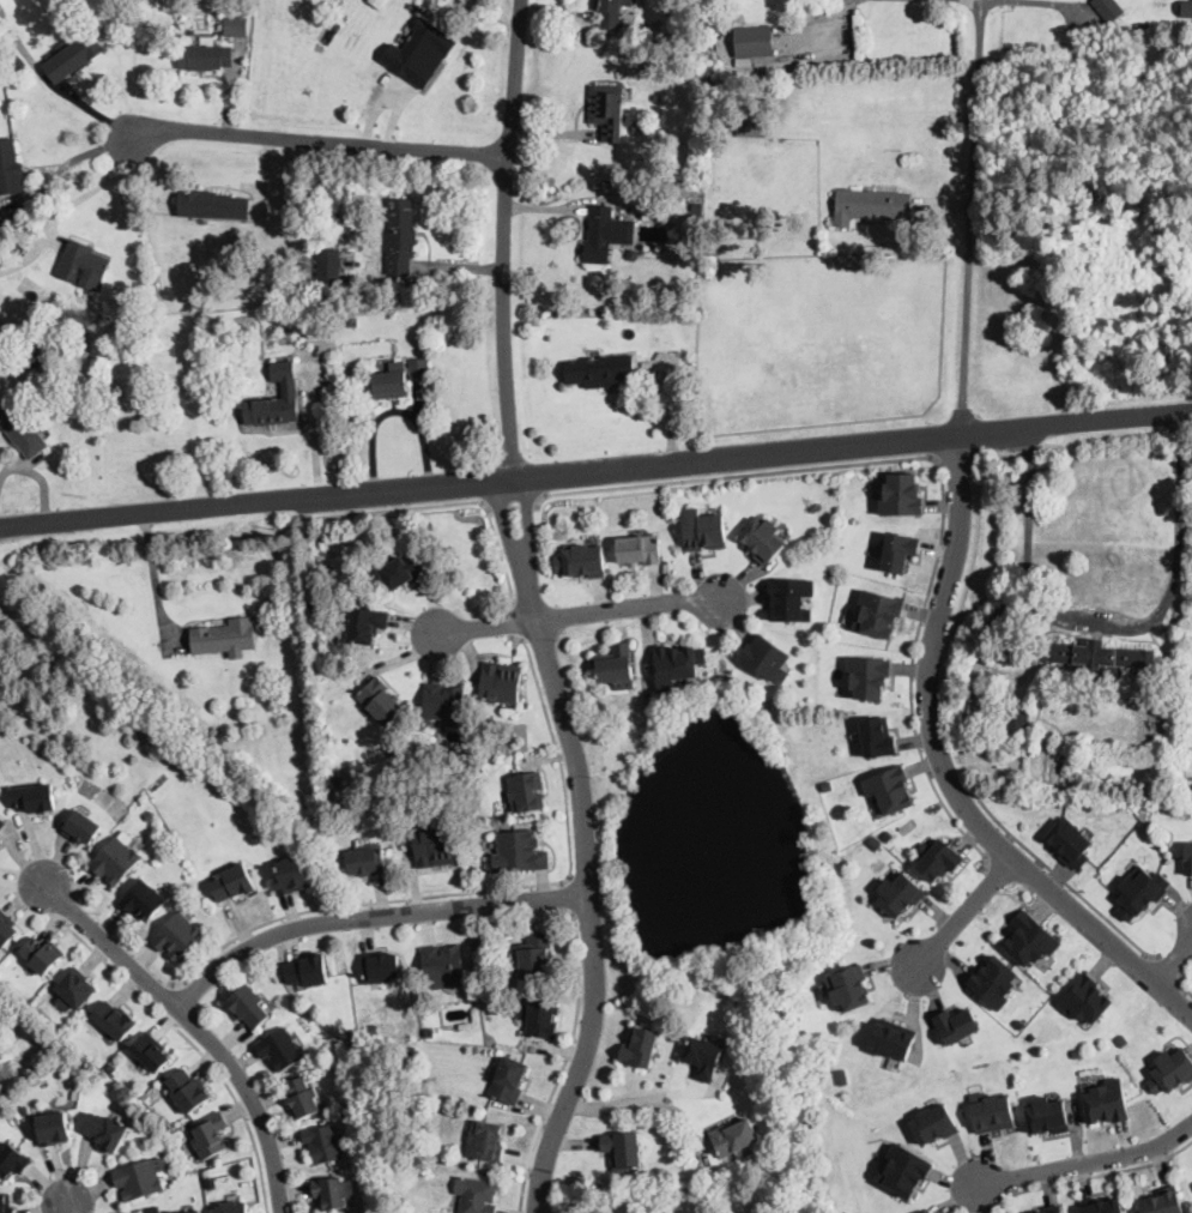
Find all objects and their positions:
road: (978, 0)
road: (986, 0)
building: (377, 2)
road: (1064, 4)
building: (1108, 8)
building: (1186, 10)
building: (612, 13)
building: (244, 18)
building: (413, 20)
building: (688, 28)
building: (754, 40)
building: (416, 50)
building: (206, 55)
building: (72, 56)
building: (744, 61)
building: (702, 74)
building: (731, 95)
building: (607, 104)
building: (750, 126)
road: (321, 143)
building: (8, 167)
building: (213, 205)
building: (871, 205)
road: (970, 216)
building: (605, 235)
building: (401, 236)
road: (506, 239)
building: (18, 247)
building: (633, 254)
building: (83, 262)
building: (328, 266)
building: (278, 289)
building: (352, 322)
building: (37, 357)
building: (418, 368)
building: (600, 370)
building: (393, 382)
building: (277, 399)
road: (394, 410)
road: (1077, 421)
building: (22, 430)
road: (737, 457)
road: (942, 472)
building: (902, 496)
road: (512, 501)
road: (255, 505)
road: (449, 505)
building: (706, 530)
building: (763, 539)
building: (323, 545)
building: (640, 550)
building: (898, 551)
building: (582, 561)
building: (404, 569)
building: (791, 599)
building: (877, 614)
road: (580, 615)
road: (516, 622)
building: (367, 624)
road: (1108, 626)
building: (225, 638)
building: (766, 657)
building: (1096, 659)
building: (677, 665)
building: (617, 666)
building: (869, 677)
building: (501, 682)
building: (381, 701)
building: (446, 704)
building: (1016, 724)
building: (214, 731)
building: (223, 738)
building: (877, 738)
road: (946, 772)
building: (890, 789)
building: (527, 791)
building: (35, 798)
building: (150, 816)
building: (1133, 816)
building: (2, 822)
building: (83, 828)
building: (0, 835)
building: (888, 837)
building: (873, 843)
building: (1069, 843)
road: (999, 845)
building: (435, 846)
road: (588, 846)
building: (522, 851)
building: (119, 859)
building: (181, 859)
building: (938, 859)
building: (1187, 859)
building: (367, 861)
building: (291, 876)
building: (235, 883)
road: (1067, 883)
road: (489, 889)
building: (1140, 892)
building: (900, 894)
road: (569, 895)
building: (145, 900)
road: (966, 915)
road: (371, 917)
building: (7, 929)
building: (179, 936)
building: (1031, 940)
building: (479, 948)
building: (43, 955)
building: (536, 956)
road: (1174, 964)
building: (446, 965)
building: (381, 967)
road: (1169, 968)
building: (309, 971)
building: (994, 982)
road: (1185, 983)
building: (849, 988)
building: (77, 989)
road: (163, 997)
building: (1087, 1000)
building: (249, 1007)
building: (541, 1016)
building: (116, 1021)
building: (956, 1025)
building: (1019, 1025)
road: (198, 1027)
building: (429, 1031)
building: (1031, 1034)
building: (893, 1039)
building: (1123, 1042)
road: (194, 1044)
building: (641, 1048)
building: (282, 1050)
building: (1078, 1051)
building: (152, 1052)
building: (704, 1057)
road: (563, 1063)
building: (113, 1067)
building: (1170, 1070)
building: (843, 1078)
building: (509, 1080)
building: (1, 1091)
building: (189, 1092)
building: (303, 1098)
building: (1107, 1103)
road: (645, 1104)
building: (991, 1112)
building: (1047, 1116)
building: (934, 1124)
building: (167, 1127)
building: (54, 1128)
building: (108, 1131)
building: (211, 1136)
building: (733, 1136)
building: (486, 1141)
building: (323, 1143)
building: (624, 1151)
building: (13, 1160)
road: (1087, 1165)
building: (903, 1170)
road: (1106, 1175)
building: (139, 1179)
building: (332, 1193)
building: (477, 1195)
road: (606, 1199)
building: (1162, 1202)
building: (5, 1205)
building: (1101, 1206)
building: (235, 1207)
road: (68, 1208)
building: (924, 1211)
building: (139, 1212)
building: (194, 1212)
building: (1043, 1212)
building: (1058, 1212)

